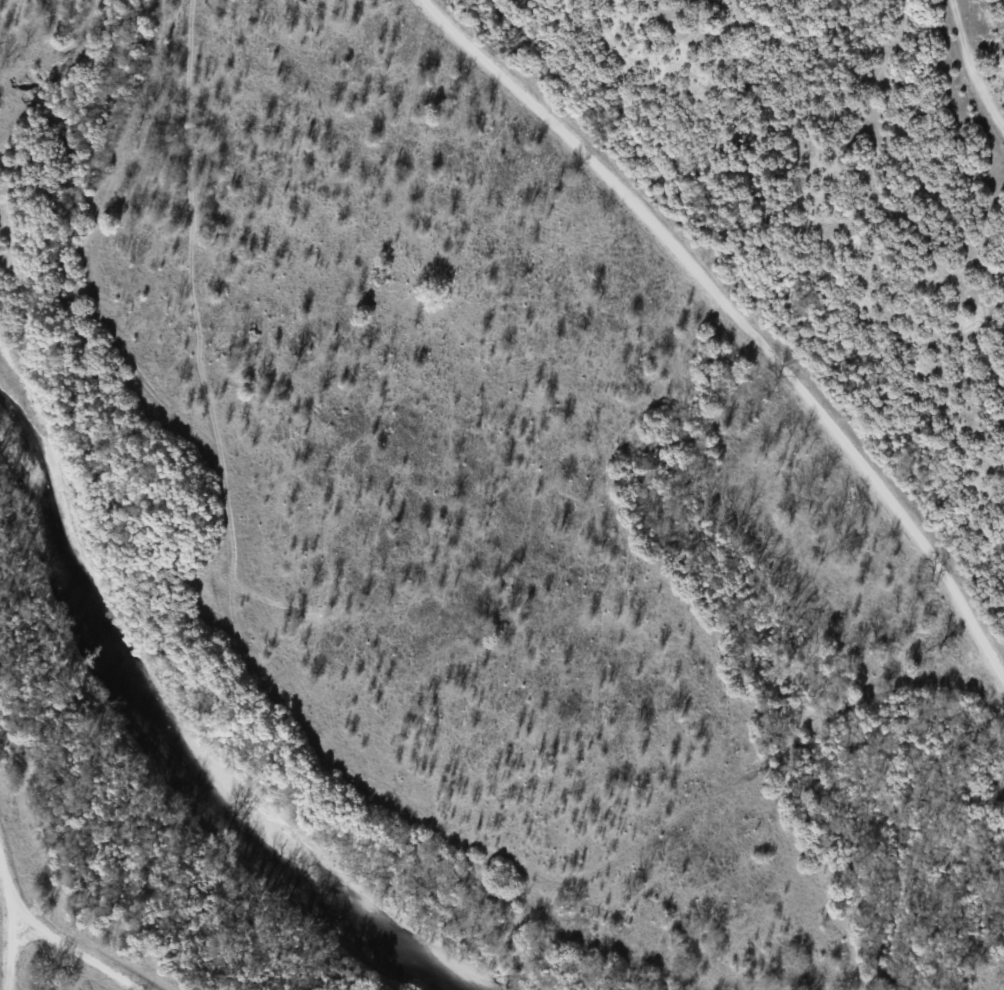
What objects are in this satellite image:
road: (739, 321)
river: (160, 739)
road: (4, 925)
road: (79, 948)

